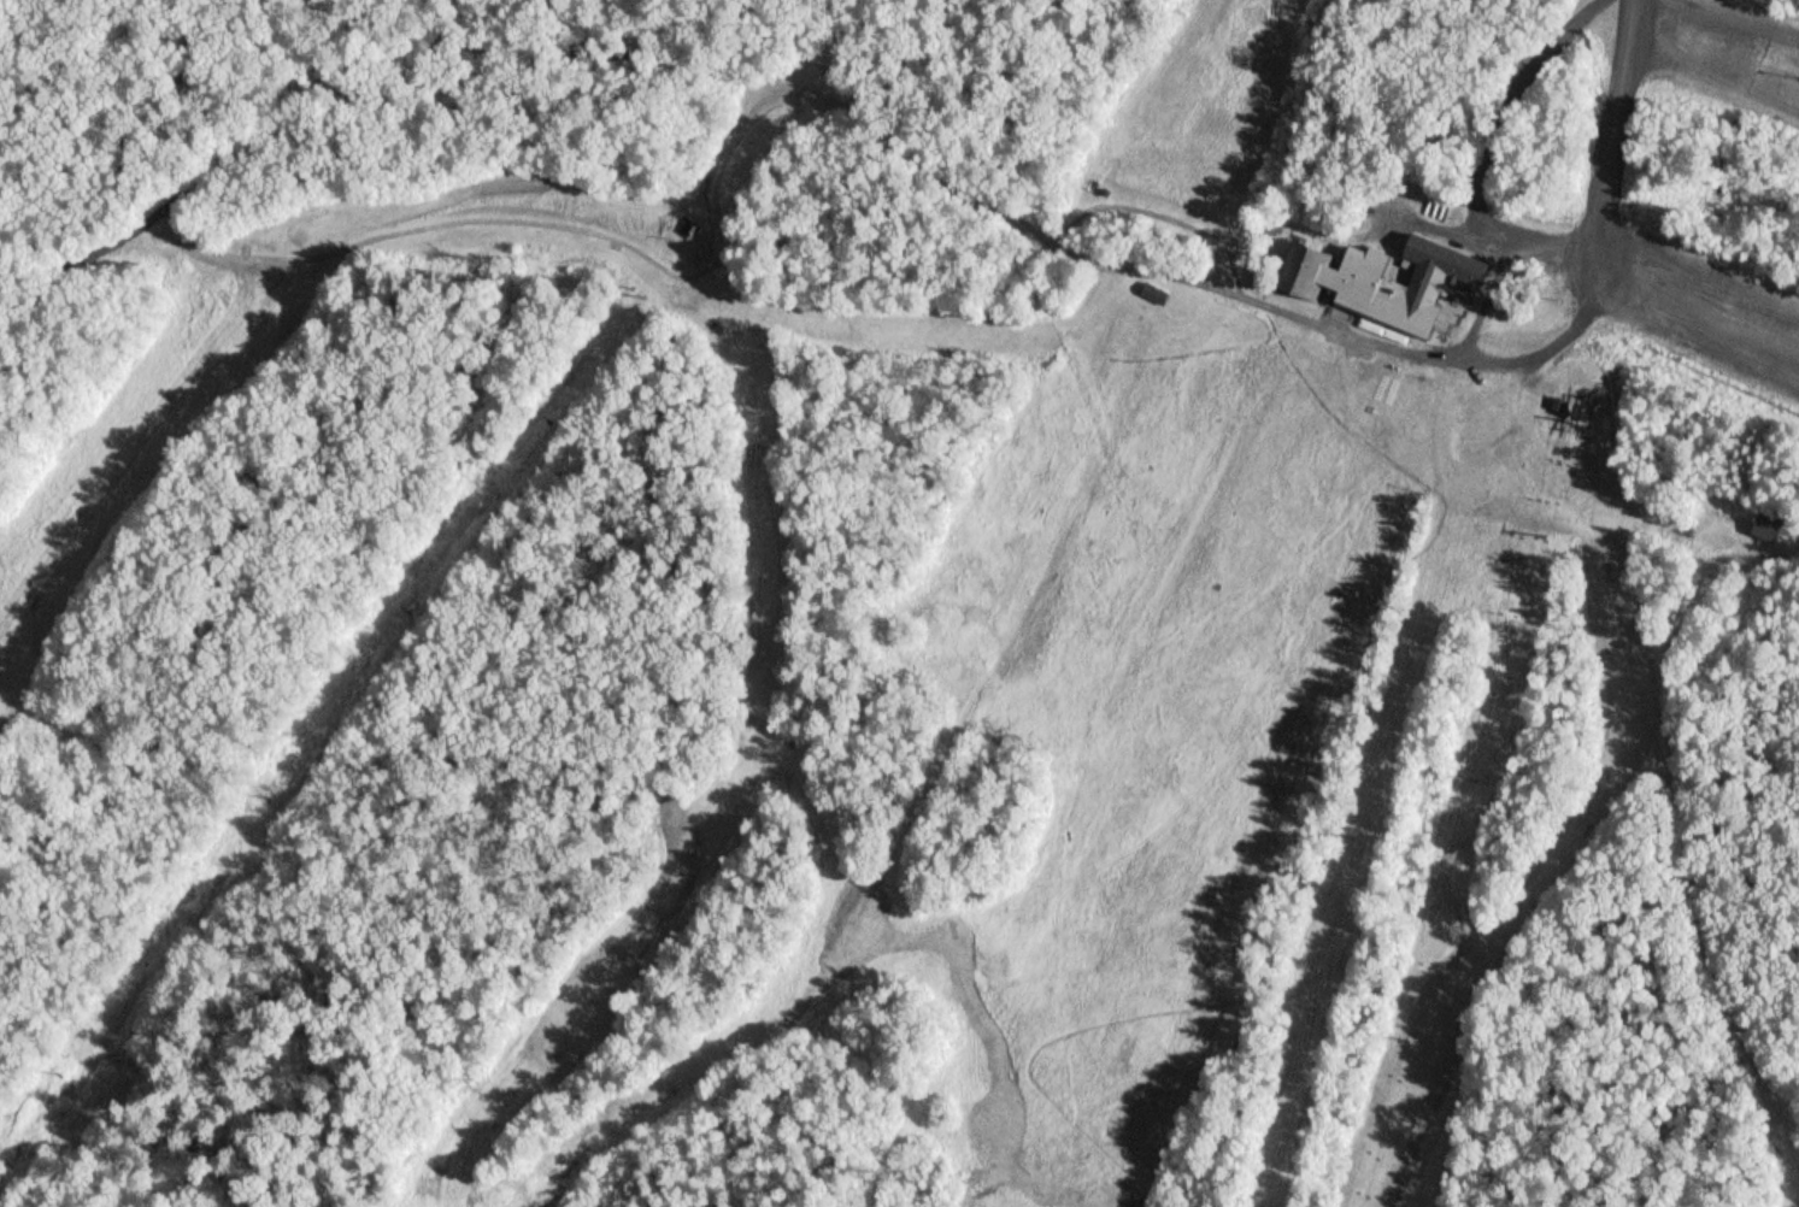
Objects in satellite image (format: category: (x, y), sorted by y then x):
road: (1734, 22)
parking lot: (1728, 59)
road: (1716, 76)
road: (245, 149)
road: (1615, 154)
road: (963, 175)
building: (1393, 279)
road: (1700, 285)
parking lot: (1705, 310)
road: (1700, 318)
road: (1697, 324)
building: (1769, 525)
road: (1646, 748)

